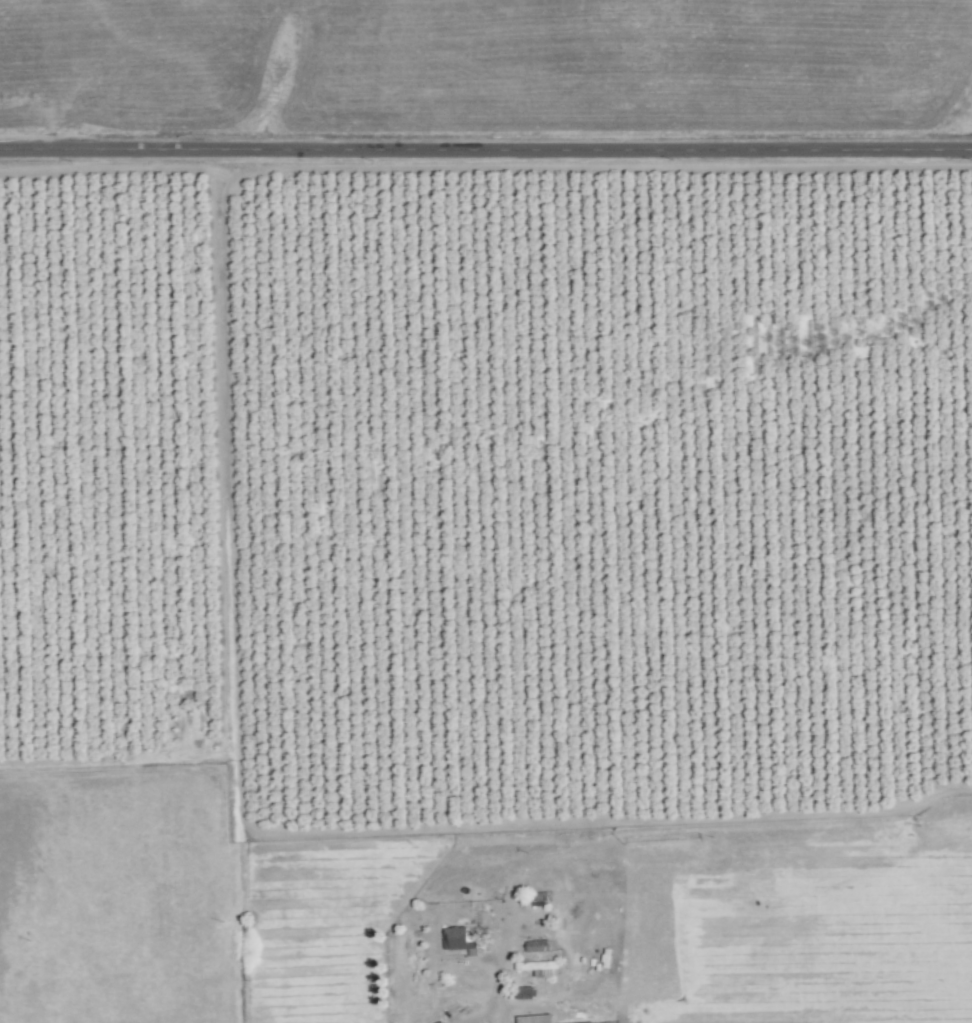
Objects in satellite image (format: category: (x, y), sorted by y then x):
road: (486, 149)
crop: (485, 588)
building: (458, 940)
building: (535, 947)
building: (529, 966)
building: (524, 993)
building: (533, 1019)
road: (478, 1022)

